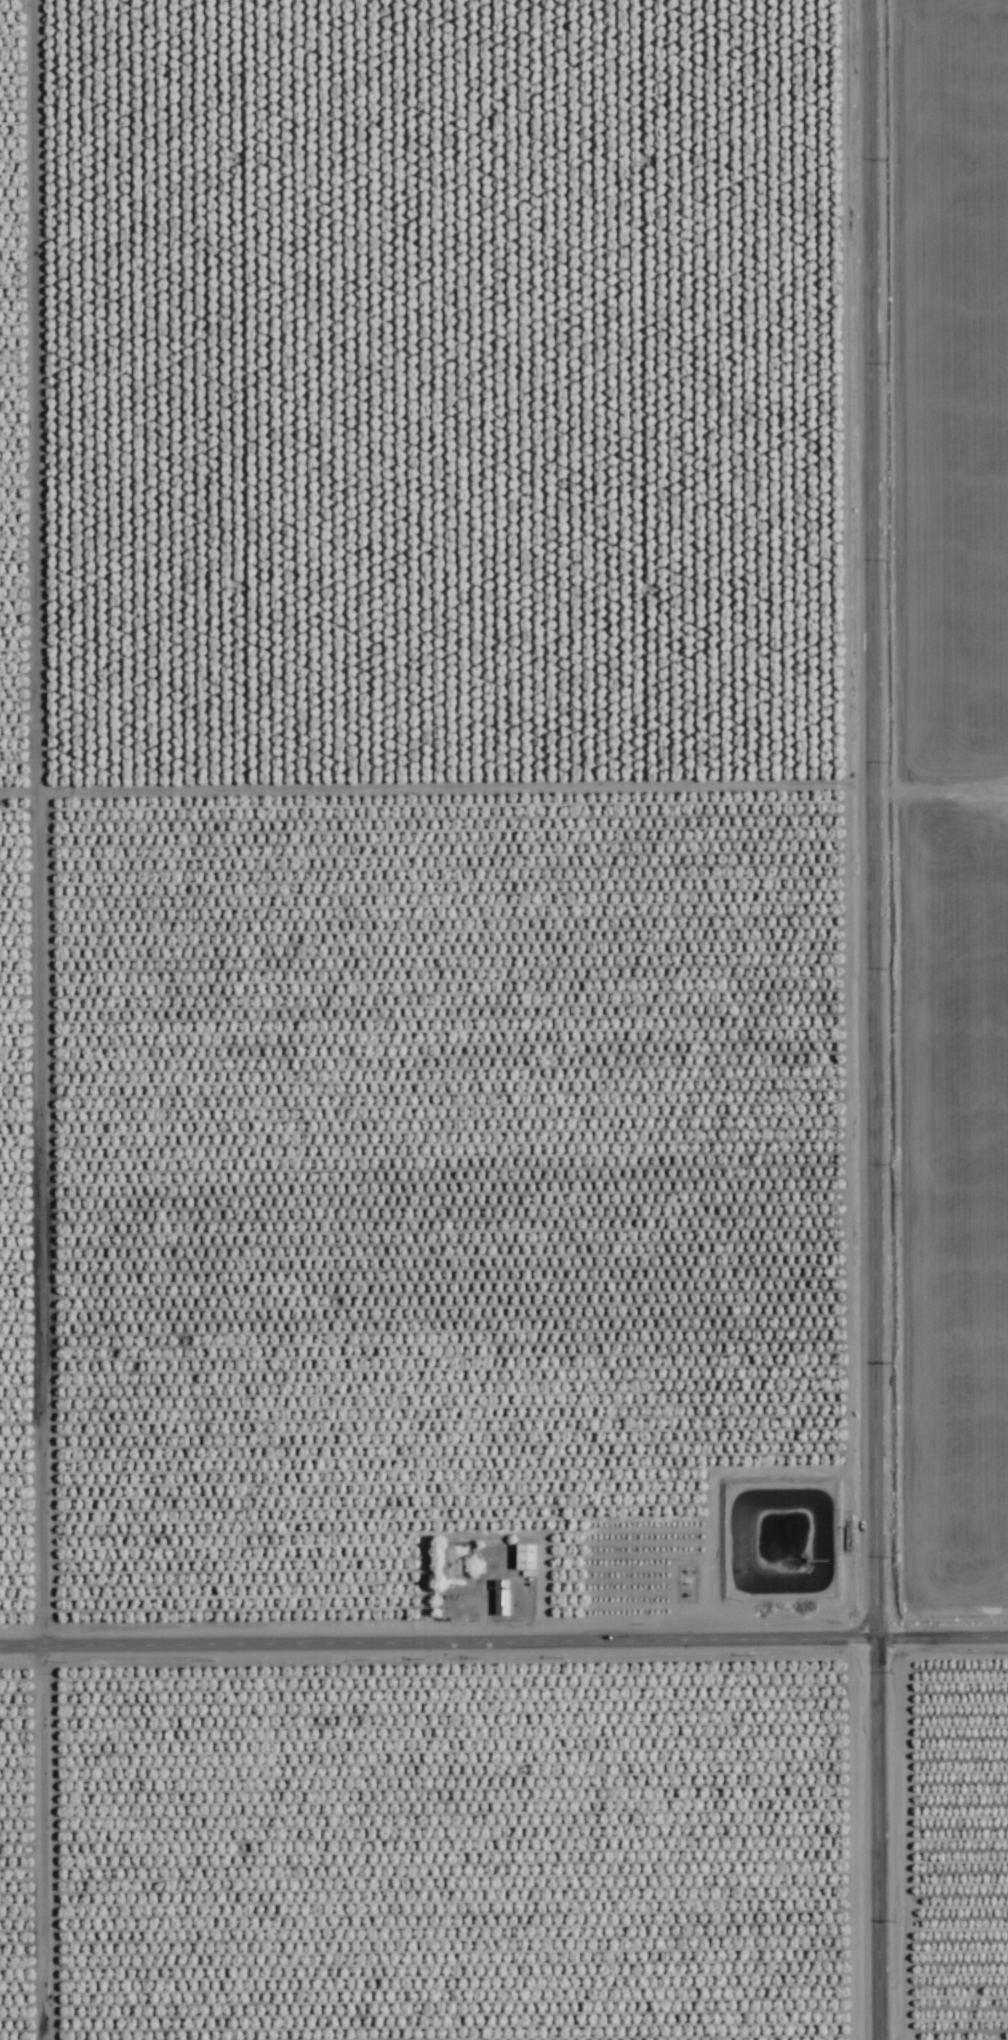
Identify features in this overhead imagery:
crop: (504, 1020)
road: (875, 1020)
wastewater plant: (783, 1538)
building: (523, 1557)
building: (444, 1564)
building: (500, 1598)
road: (503, 1624)
building: (640, 1803)
building: (397, 1929)
building: (122, 1939)
building: (576, 1984)
building: (148, 1998)
building: (410, 2032)

